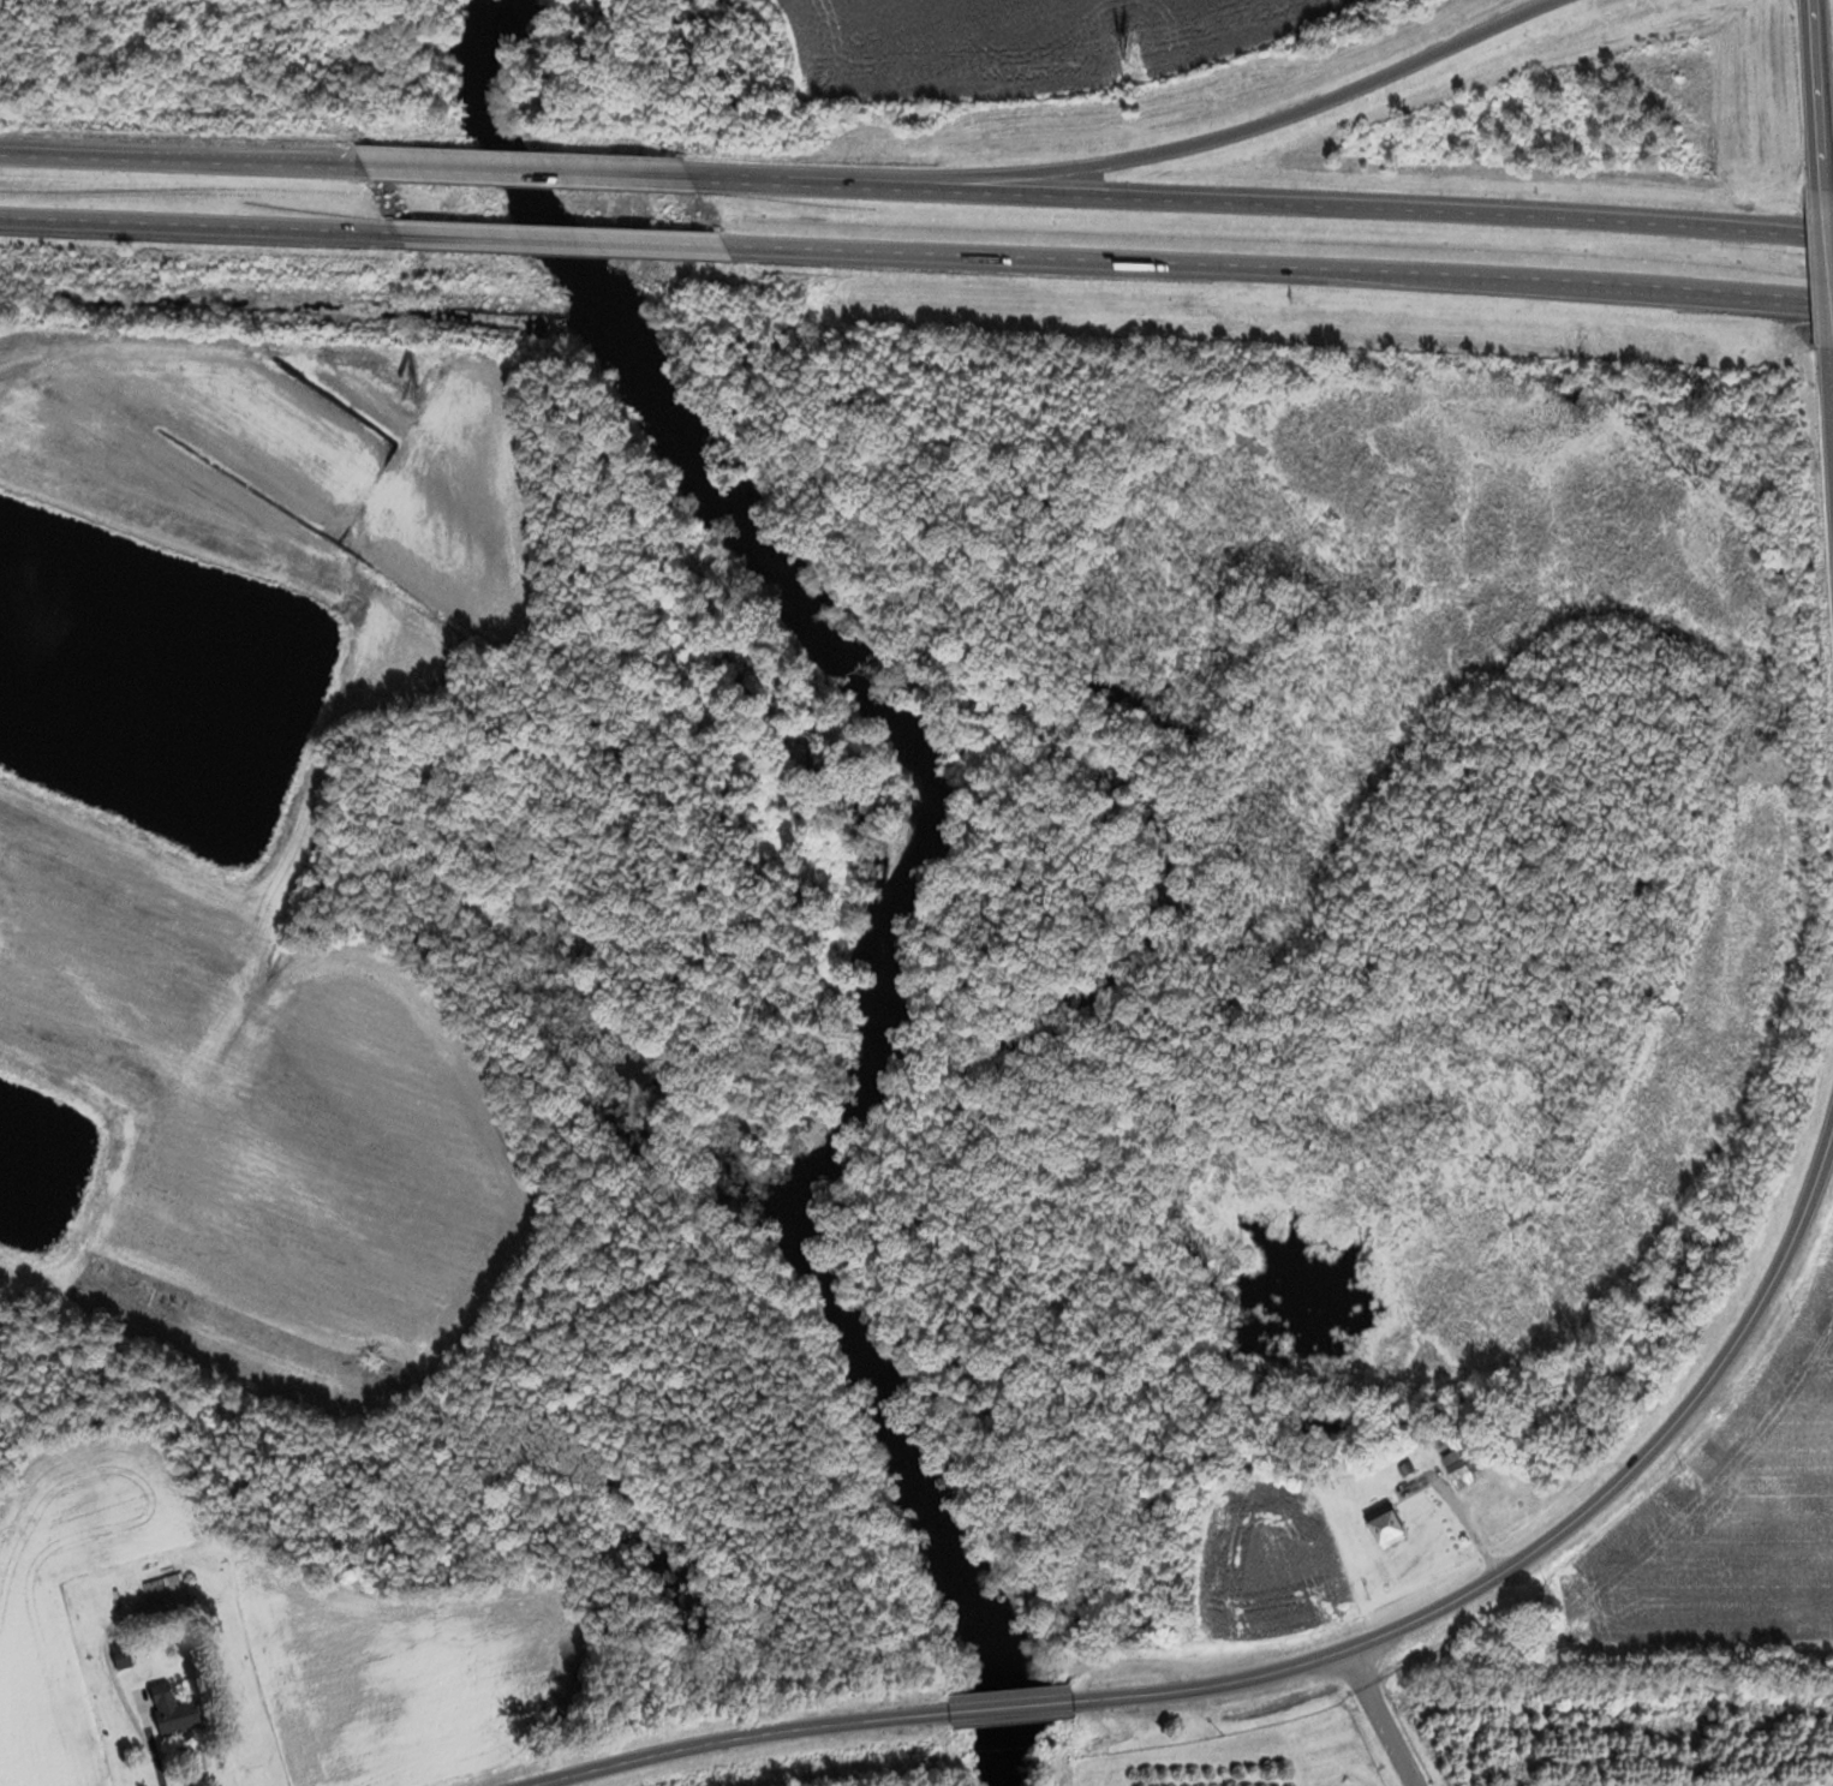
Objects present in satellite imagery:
road: (1823, 96)
road: (1166, 154)
road: (41, 157)
road: (222, 163)
road: (525, 173)
road: (715, 180)
road: (1286, 207)
road: (1832, 215)
road: (198, 227)
building: (689, 238)
road: (562, 241)
road: (1011, 258)
road: (1552, 287)
road: (1821, 305)
road: (1821, 306)
building: (426, 380)
river: (914, 850)
building: (1825, 1386)
building: (1461, 1470)
road: (1772, 1479)
building: (1805, 1483)
building: (1387, 1527)
road: (1546, 1542)
building: (166, 1599)
building: (125, 1655)
building: (178, 1709)
road: (1009, 1709)
road: (740, 1739)

